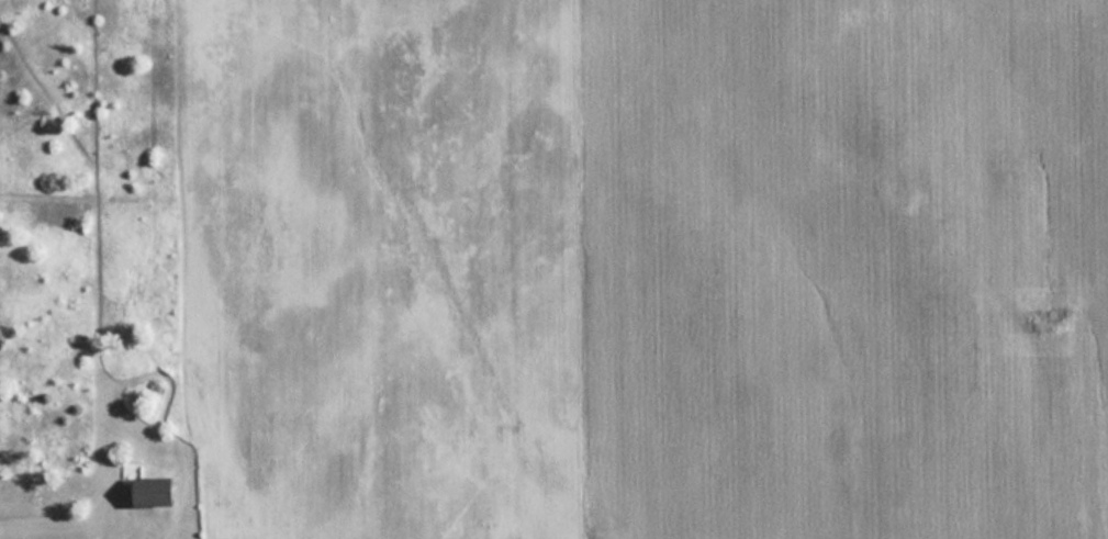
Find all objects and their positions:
building: (154, 491)

